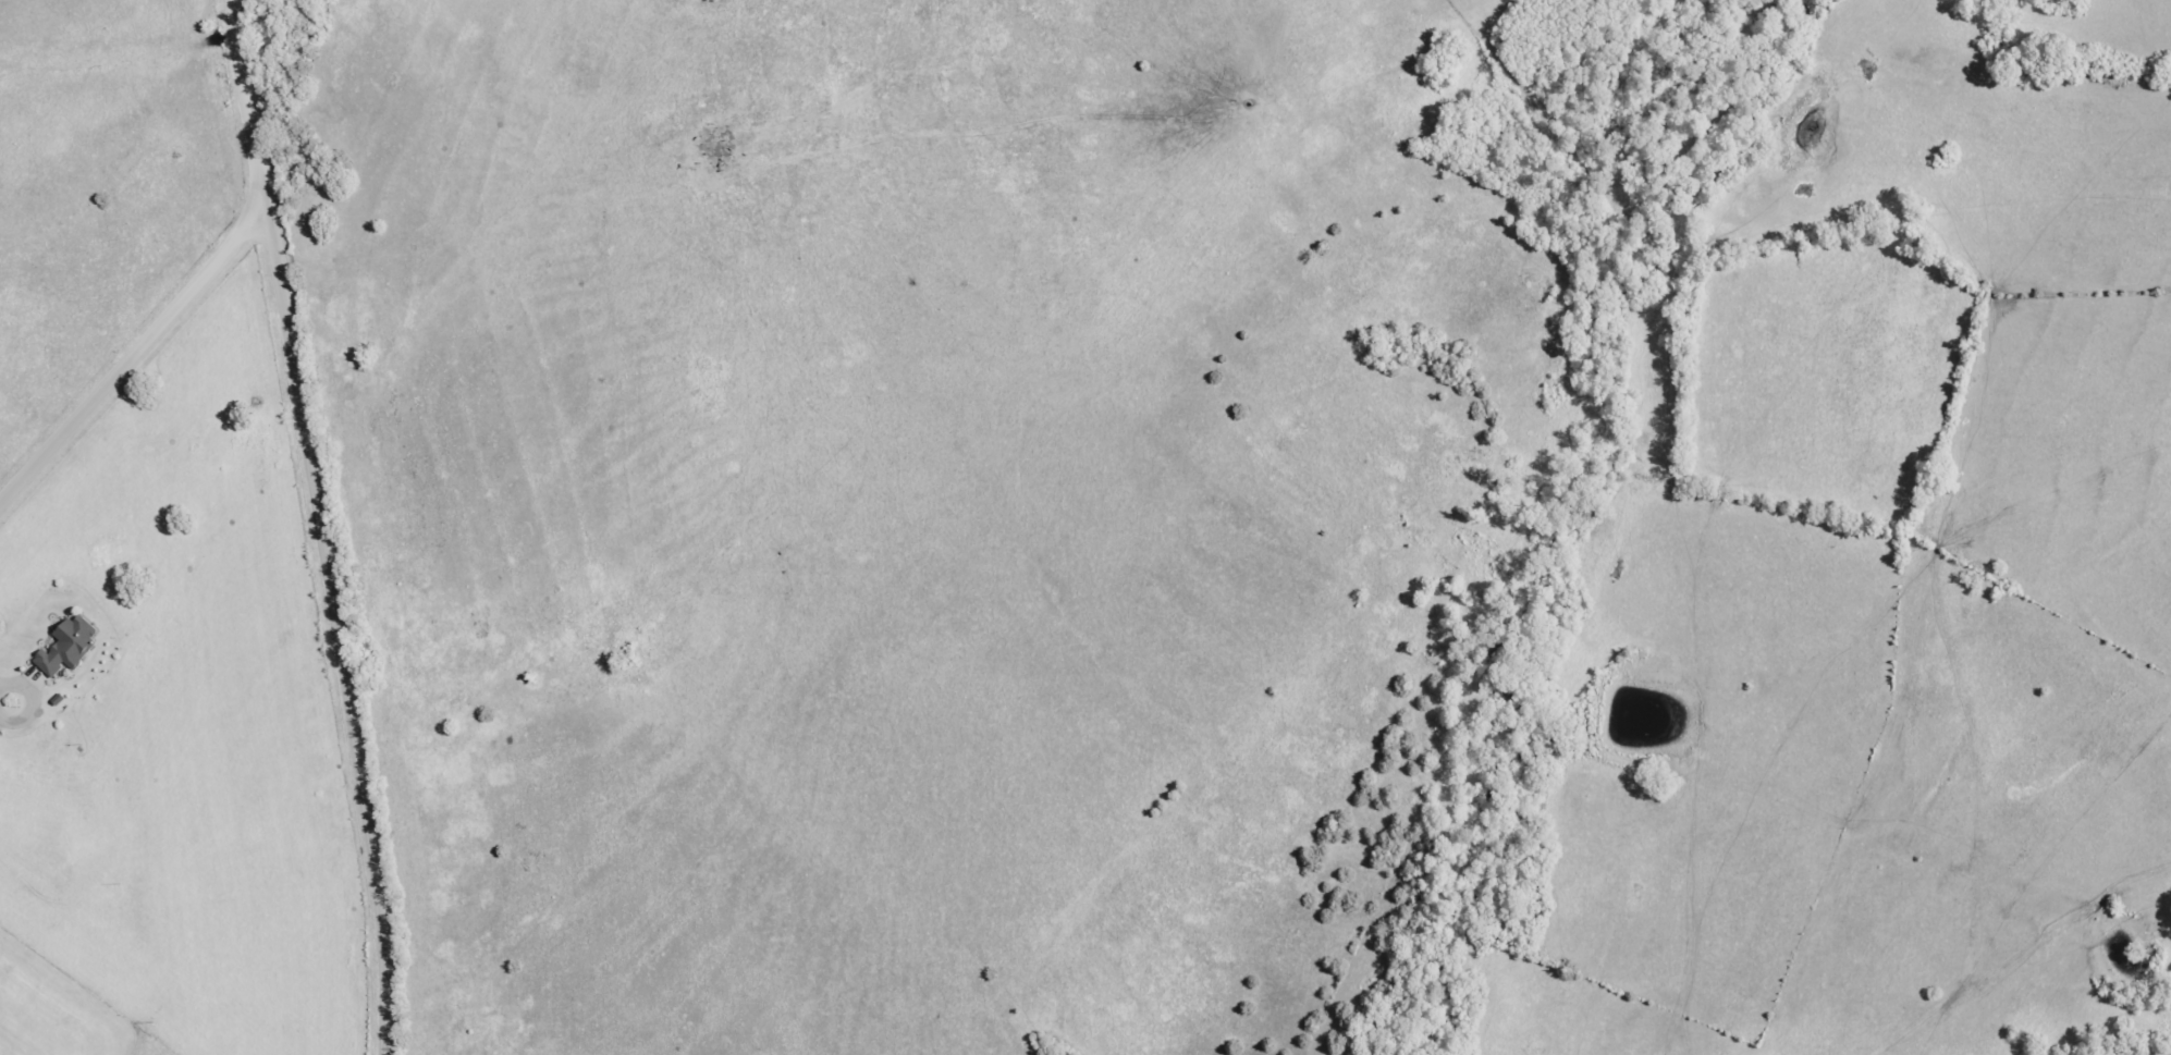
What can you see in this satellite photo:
road: (204, 279)
road: (342, 626)

